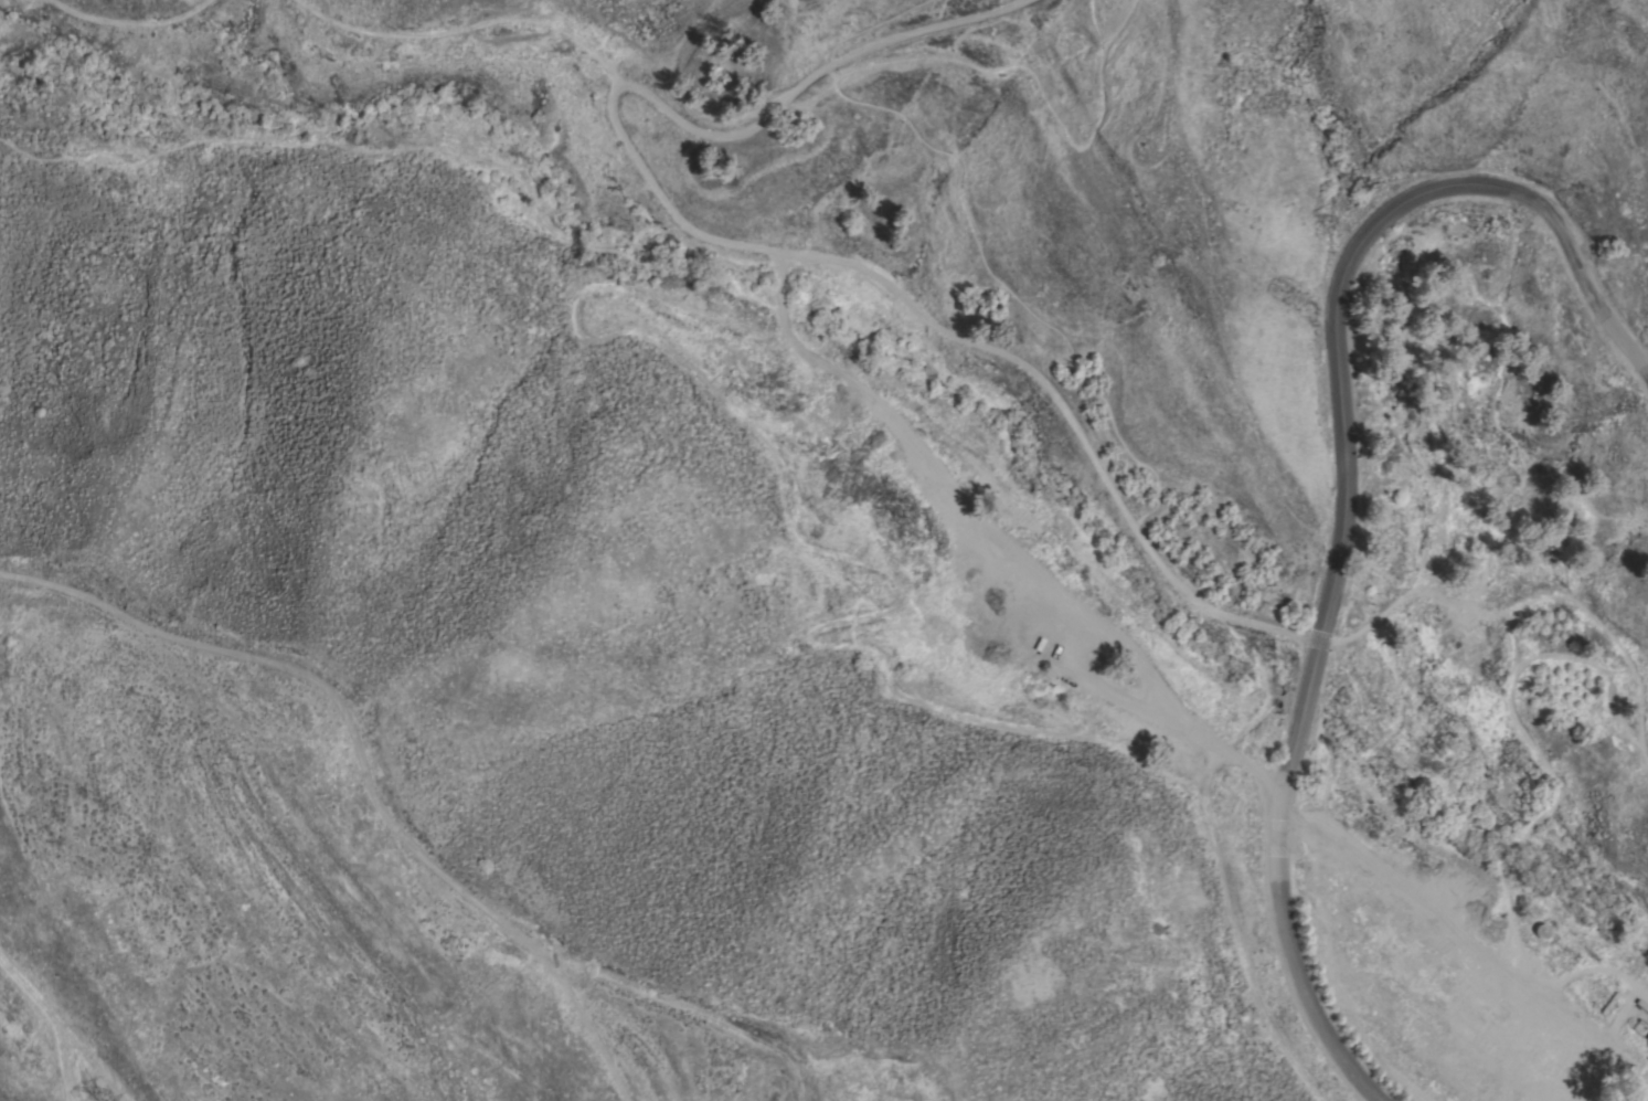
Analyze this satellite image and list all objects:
road: (130, 20)
road: (870, 28)
road: (10, 72)
road: (807, 80)
road: (408, 128)
road: (1564, 233)
road: (819, 248)
road: (1000, 288)
park: (1221, 487)
road: (788, 522)
road: (1036, 568)
road: (1530, 594)
road: (1319, 643)
road: (1598, 667)
road: (1264, 679)
road: (1273, 685)
road: (1382, 714)
road: (1506, 848)
storage tank: (1542, 930)
road: (1241, 948)

